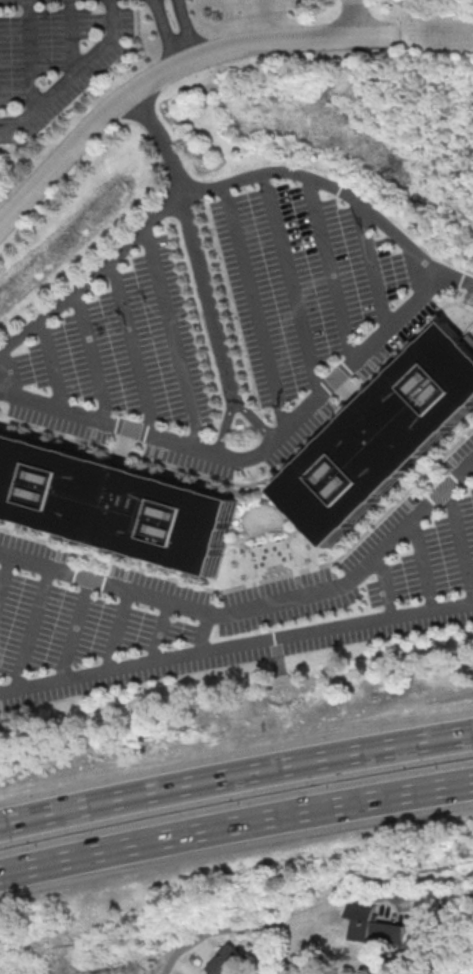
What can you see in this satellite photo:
road: (356, 18)
road: (185, 29)
road: (165, 32)
road: (69, 38)
road: (28, 58)
road: (170, 66)
road: (72, 74)
road: (161, 139)
road: (340, 189)
road: (184, 207)
road: (373, 265)
road: (330, 267)
road: (293, 282)
road: (254, 307)
road: (173, 339)
road: (132, 350)
road: (90, 360)
road: (52, 366)
road: (253, 420)
building: (393, 442)
road: (253, 454)
building: (120, 503)
road: (461, 540)
road: (424, 566)
road: (5, 571)
road: (384, 587)
road: (256, 604)
road: (32, 629)
road: (73, 630)
road: (117, 631)
road: (158, 631)
road: (201, 633)
road: (235, 646)
road: (235, 776)
road: (235, 824)
road: (245, 923)
building: (373, 926)
building: (230, 961)

